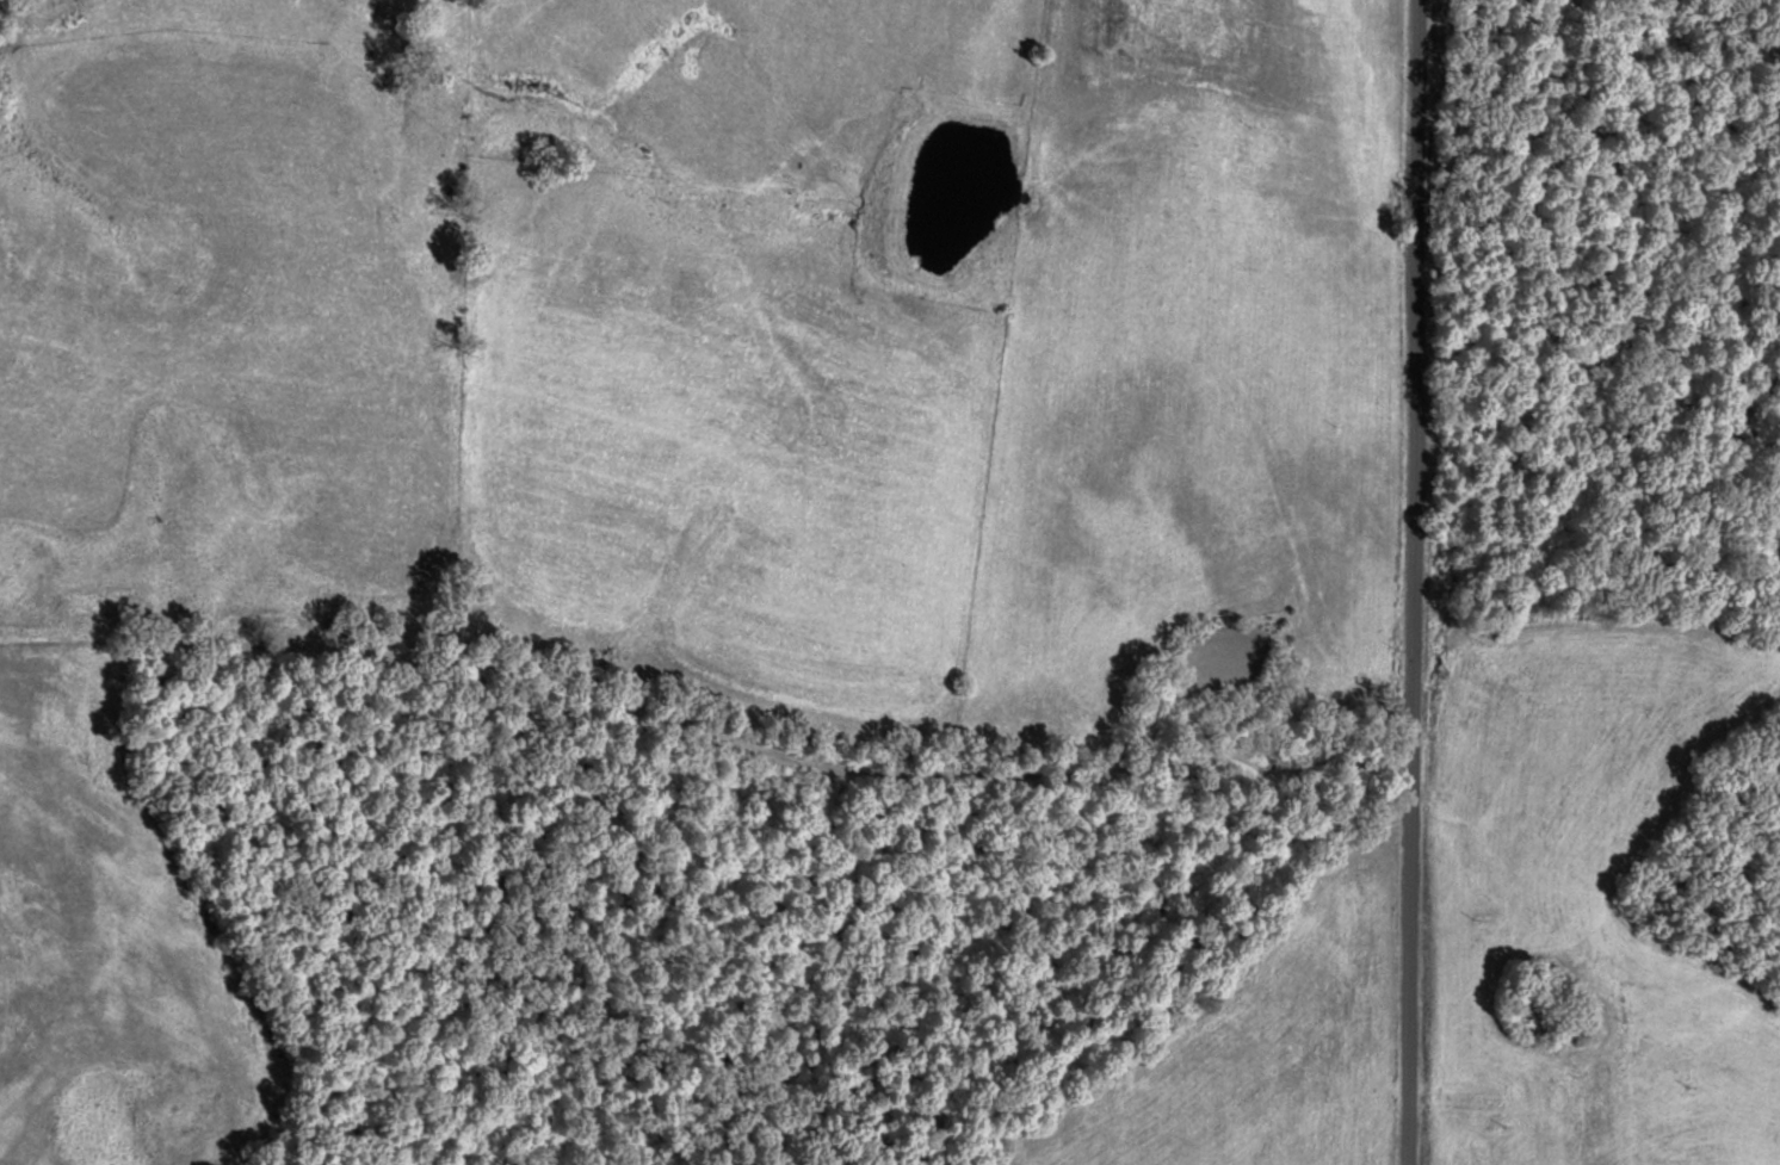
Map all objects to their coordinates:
road: (1404, 582)

